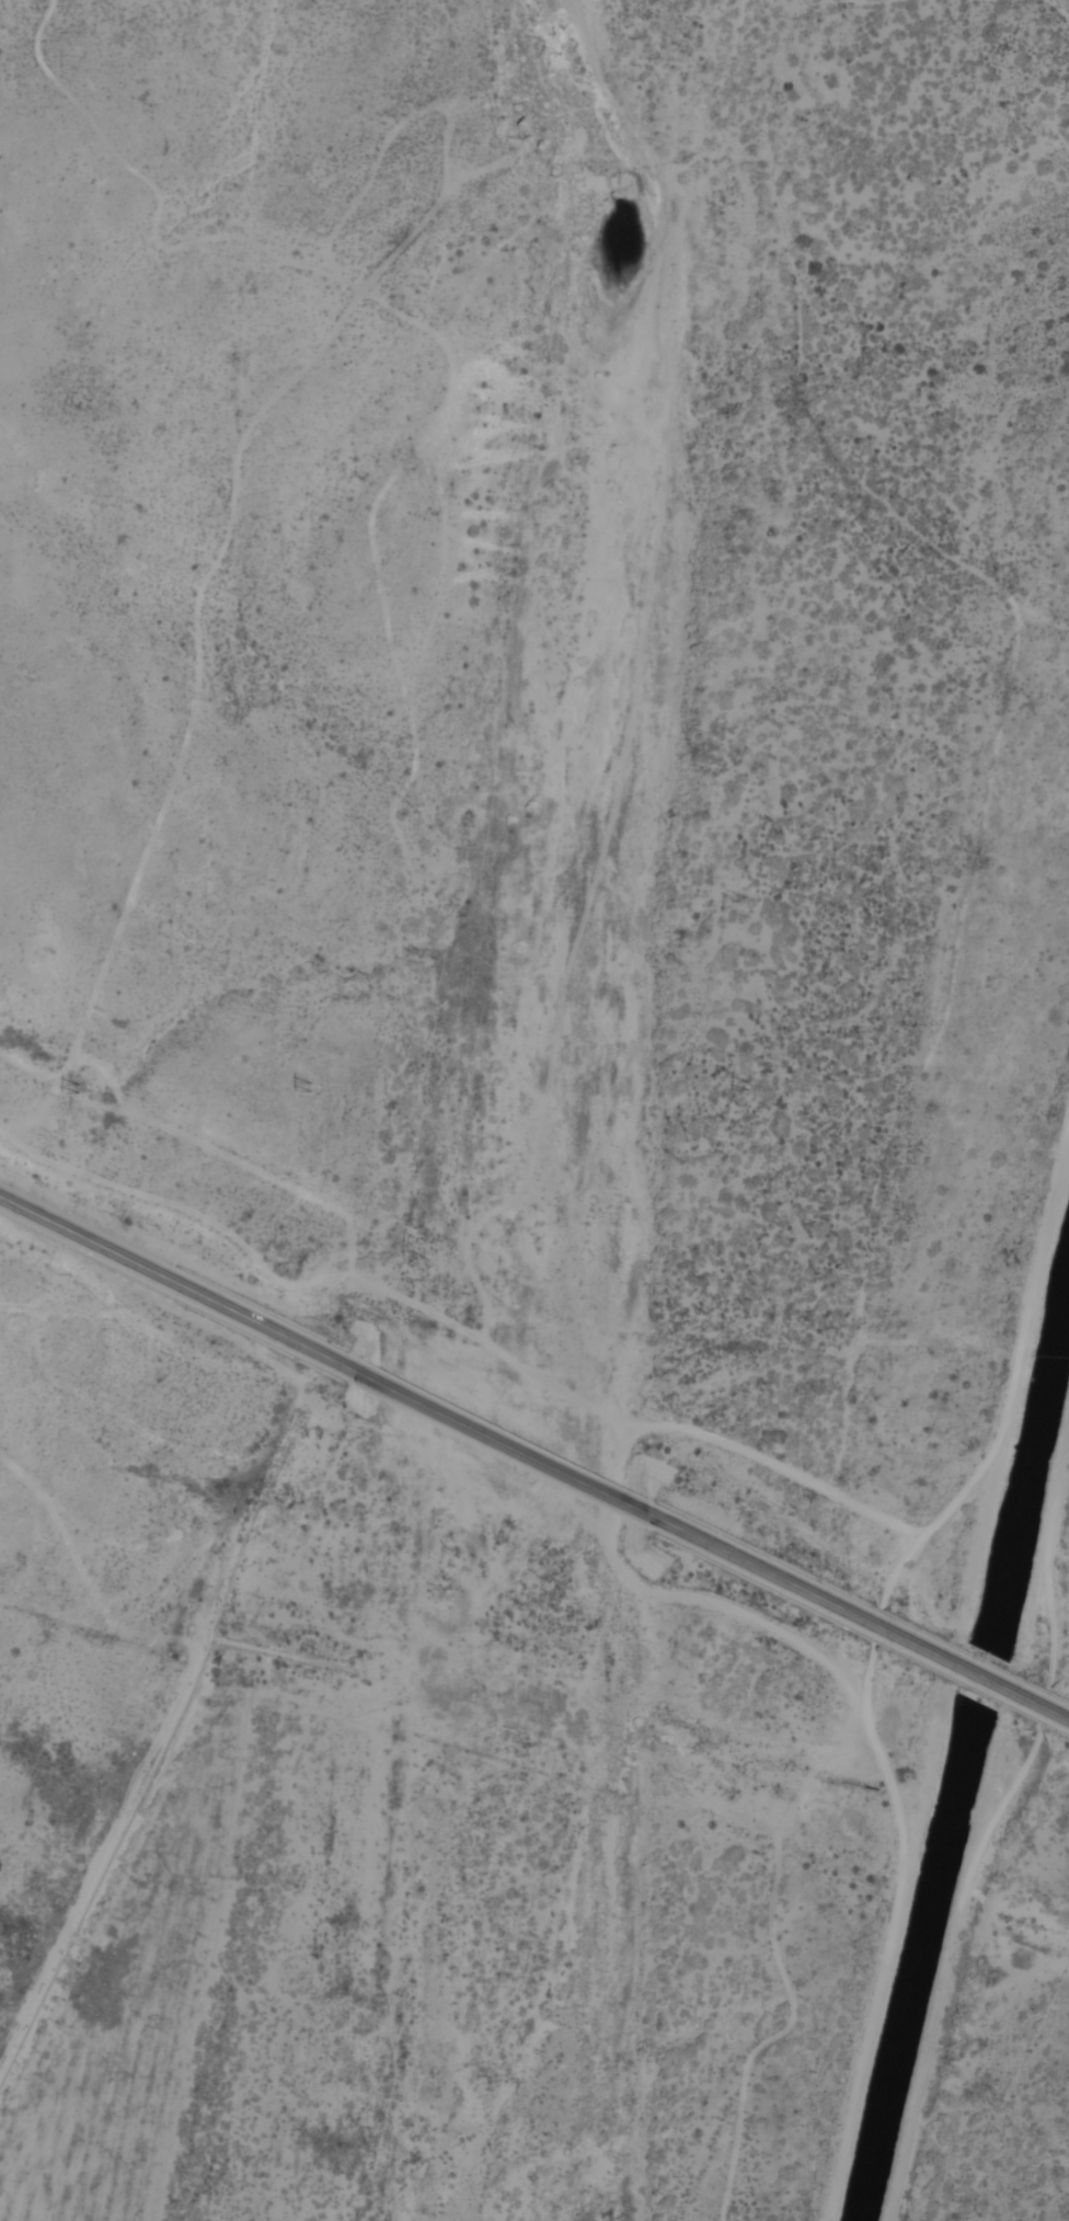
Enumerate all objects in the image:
river: (545, 1108)
road: (175, 1283)
road: (502, 1442)
road: (802, 1588)
road: (976, 1673)
road: (1034, 1702)
road: (105, 1846)
road: (7, 2050)

